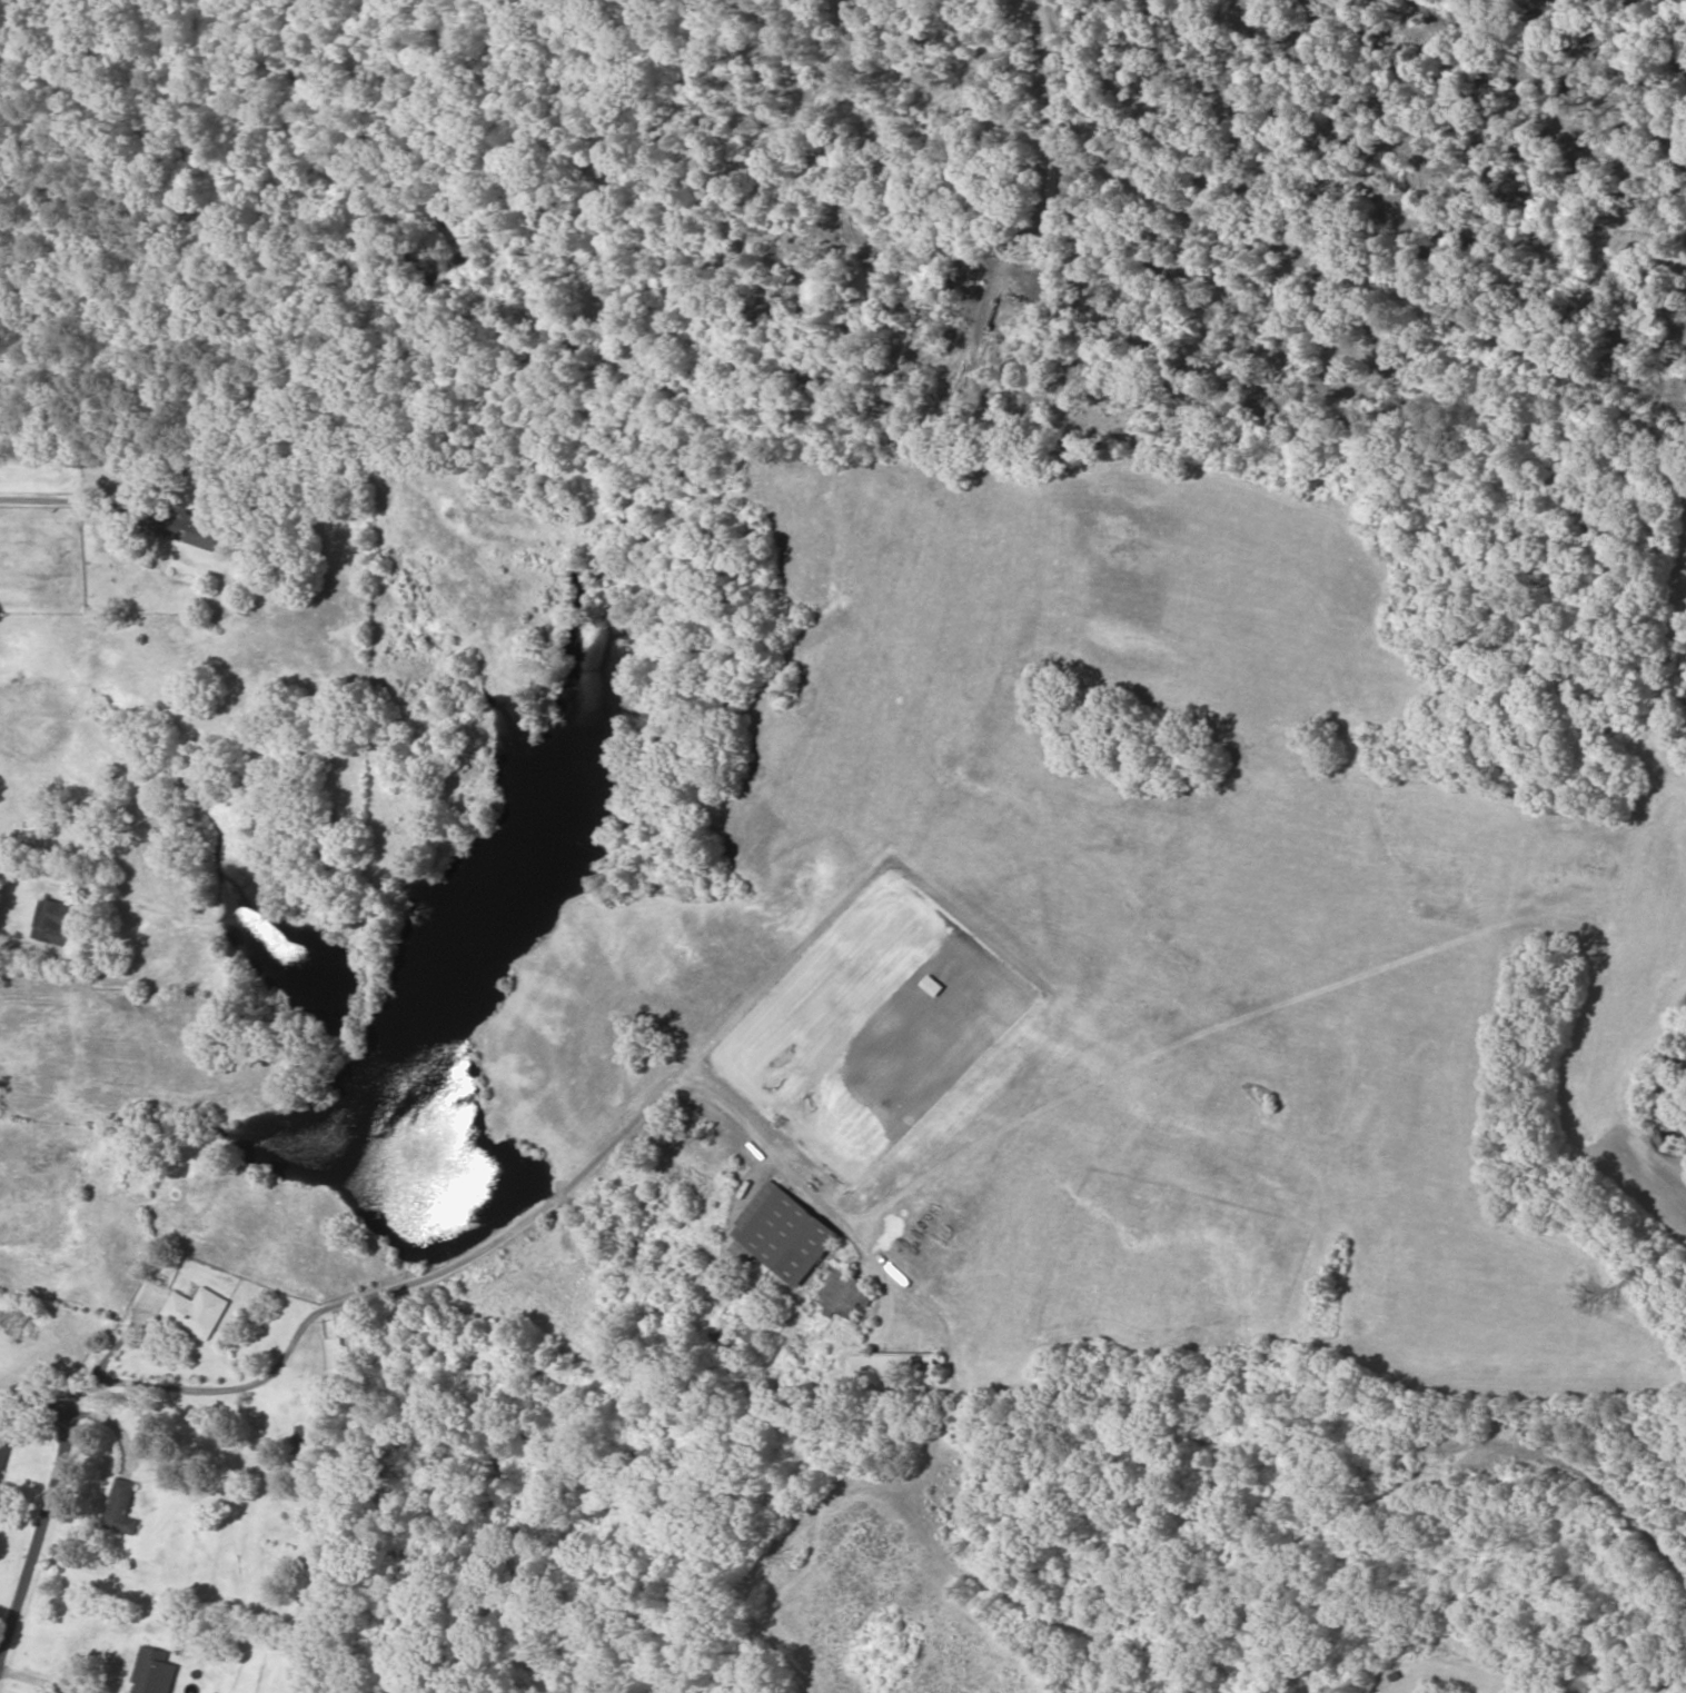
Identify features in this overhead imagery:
building: (120, 461)
road: (123, 507)
building: (194, 527)
building: (56, 922)
building: (786, 1233)
building: (847, 1293)
building: (198, 1311)
building: (756, 1334)
building: (895, 1362)
building: (339, 1364)
building: (309, 1435)
road: (19, 1438)
building: (3, 1454)
building: (123, 1507)
road: (1144, 1592)
park: (1466, 1640)
building: (151, 1670)

